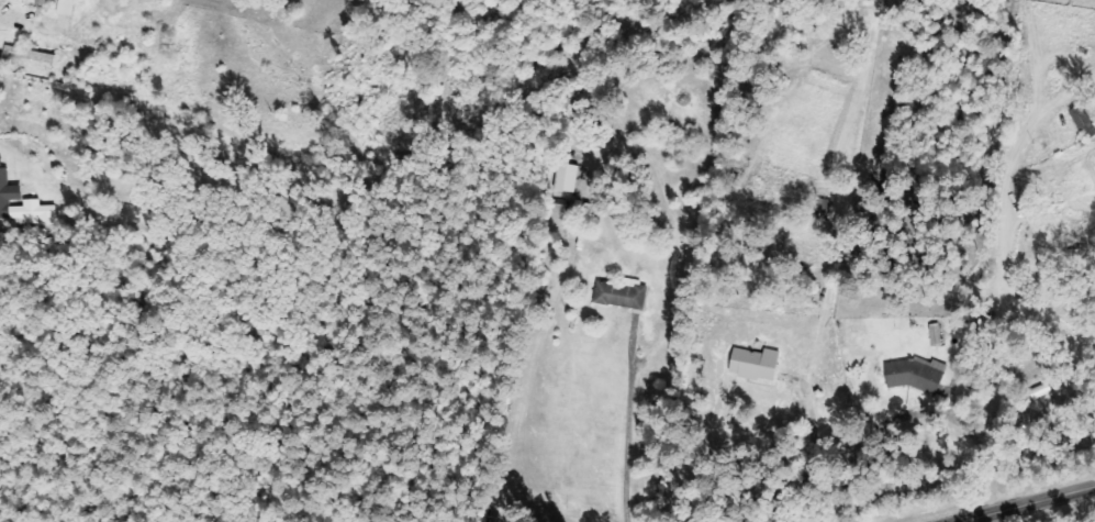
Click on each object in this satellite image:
building: (68, 0)
building: (31, 55)
building: (569, 178)
road: (1006, 198)
building: (26, 211)
building: (622, 295)
building: (757, 364)
building: (915, 375)
road: (1028, 504)

